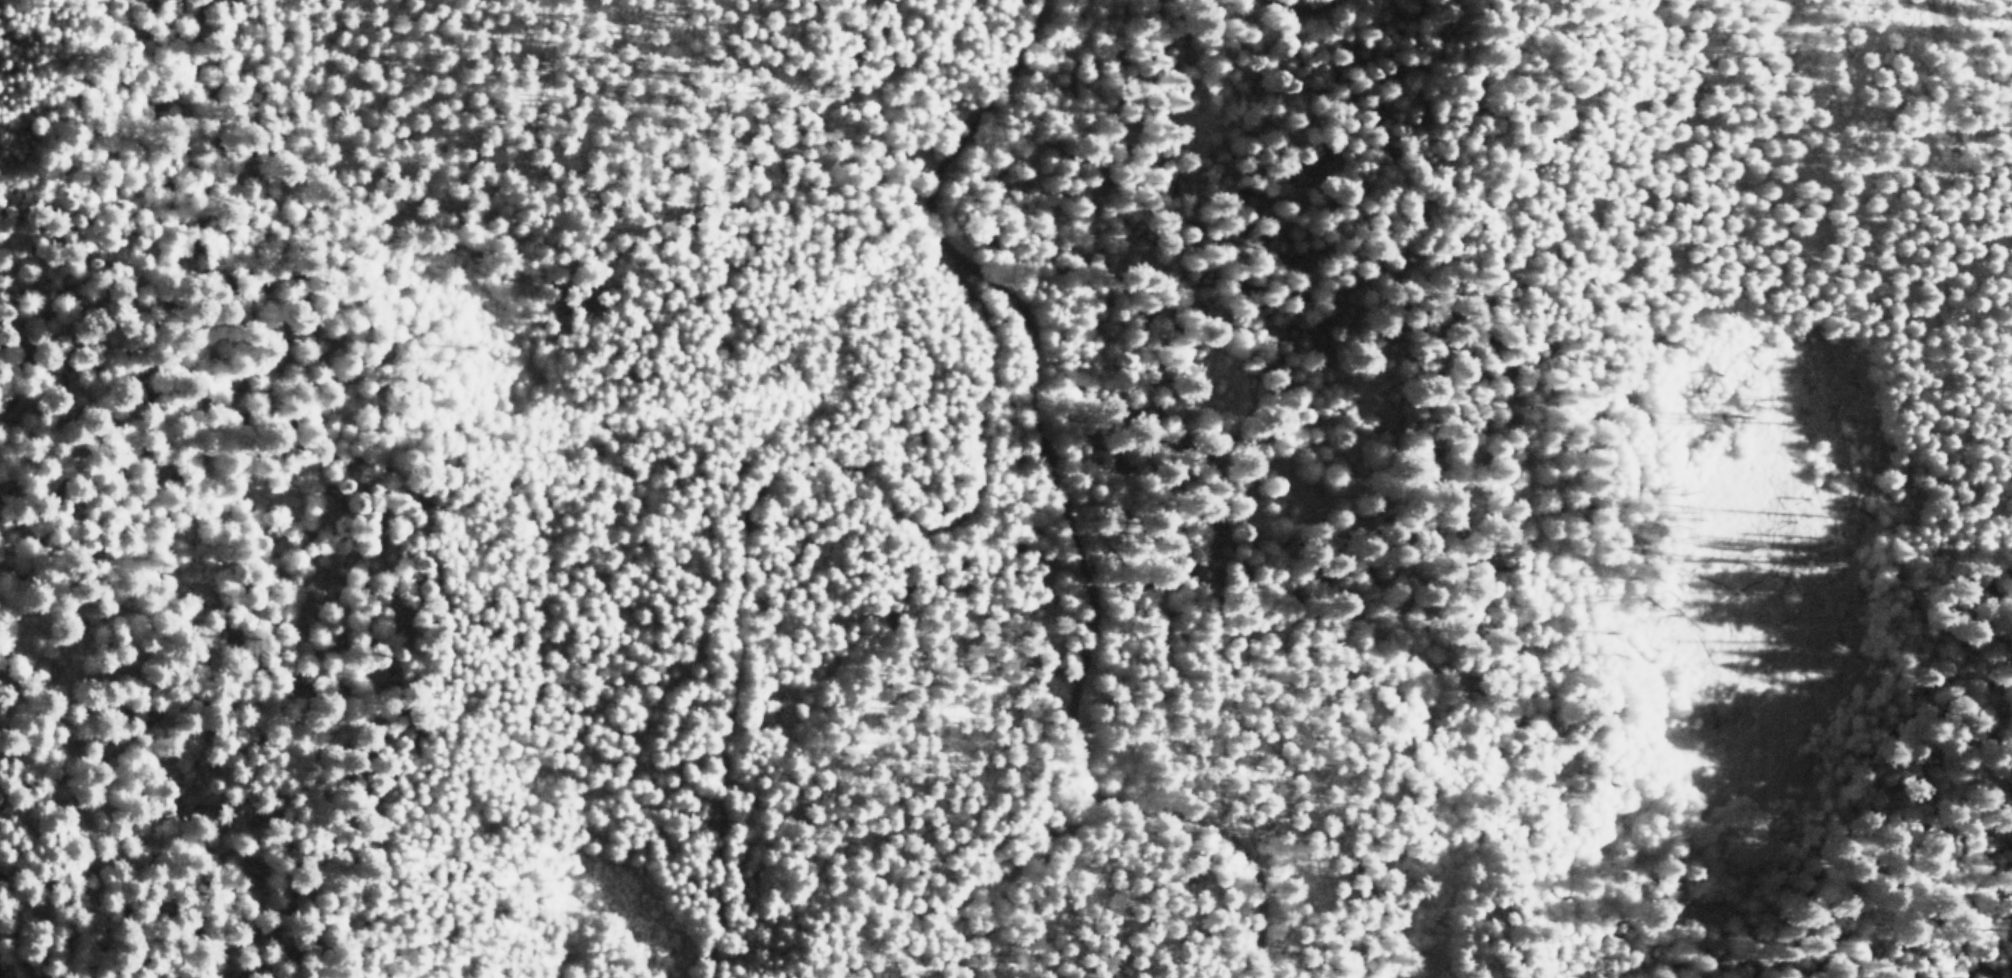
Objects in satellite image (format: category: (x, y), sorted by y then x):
road: (1325, 12)
road: (1048, 494)

